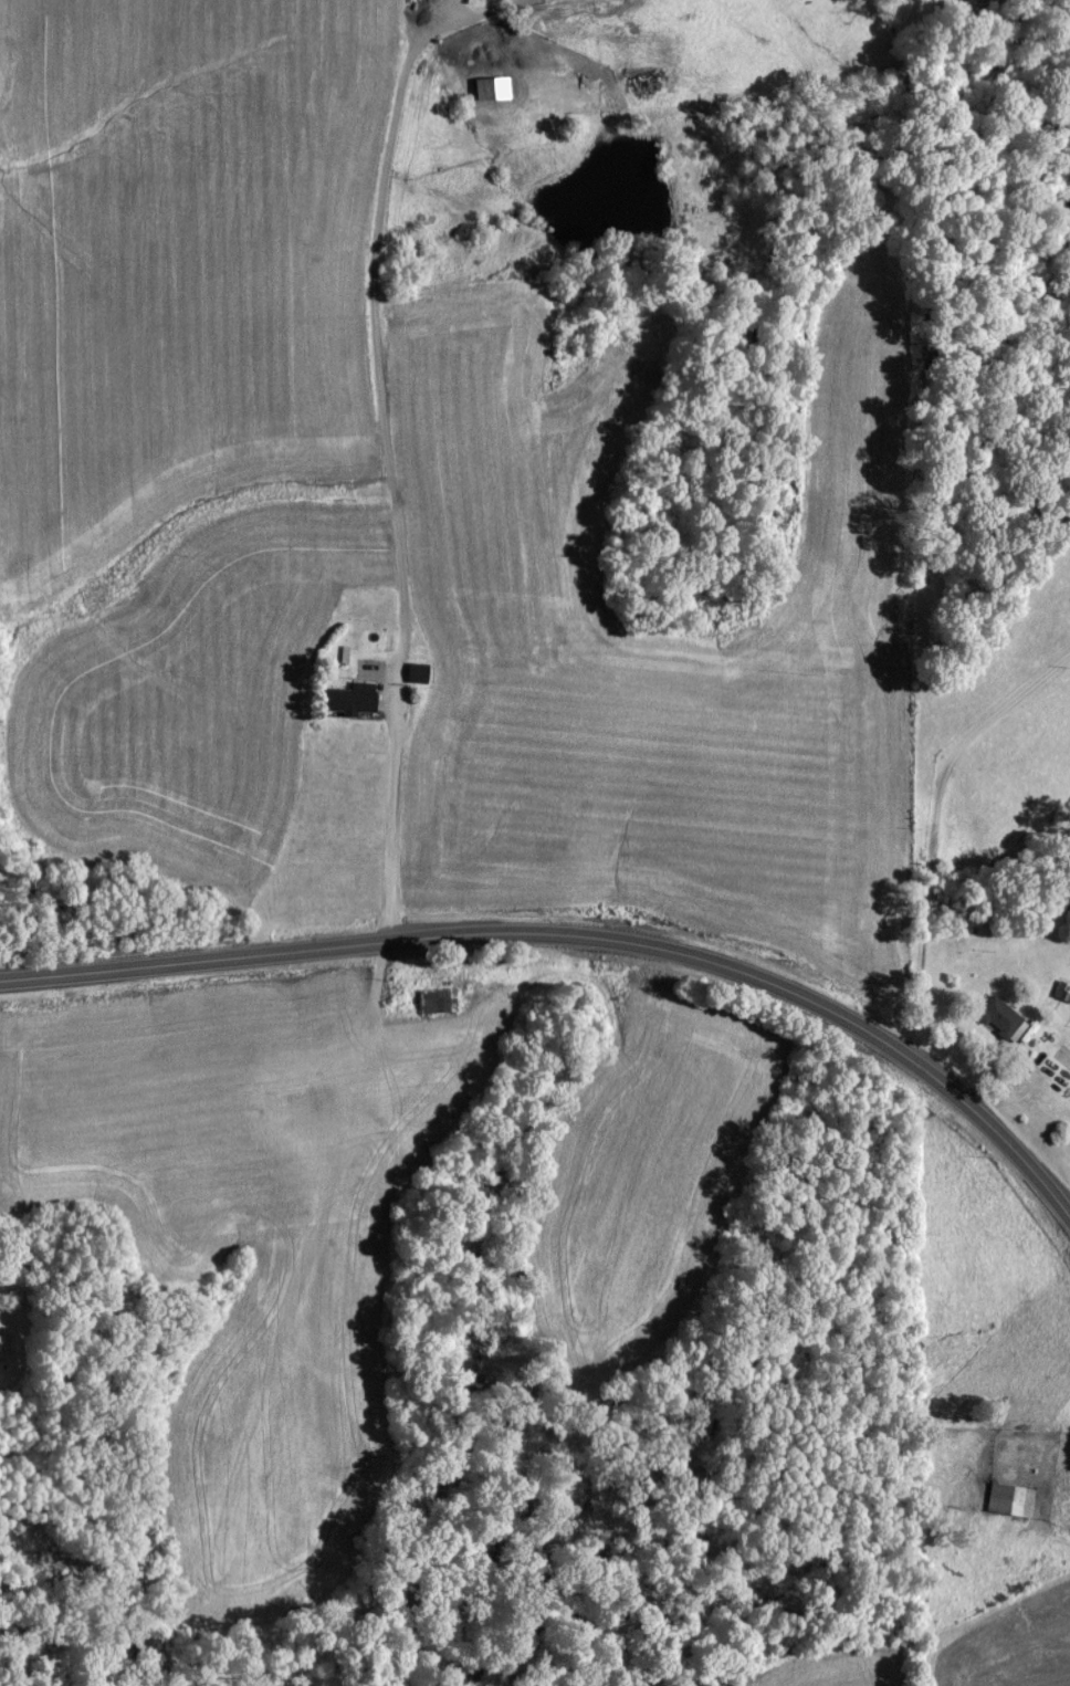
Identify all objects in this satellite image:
building: (639, 76)
building: (486, 85)
road: (389, 468)
building: (415, 671)
building: (347, 697)
road: (935, 828)
road: (577, 932)
building: (432, 998)
building: (998, 1017)
building: (1008, 1499)

